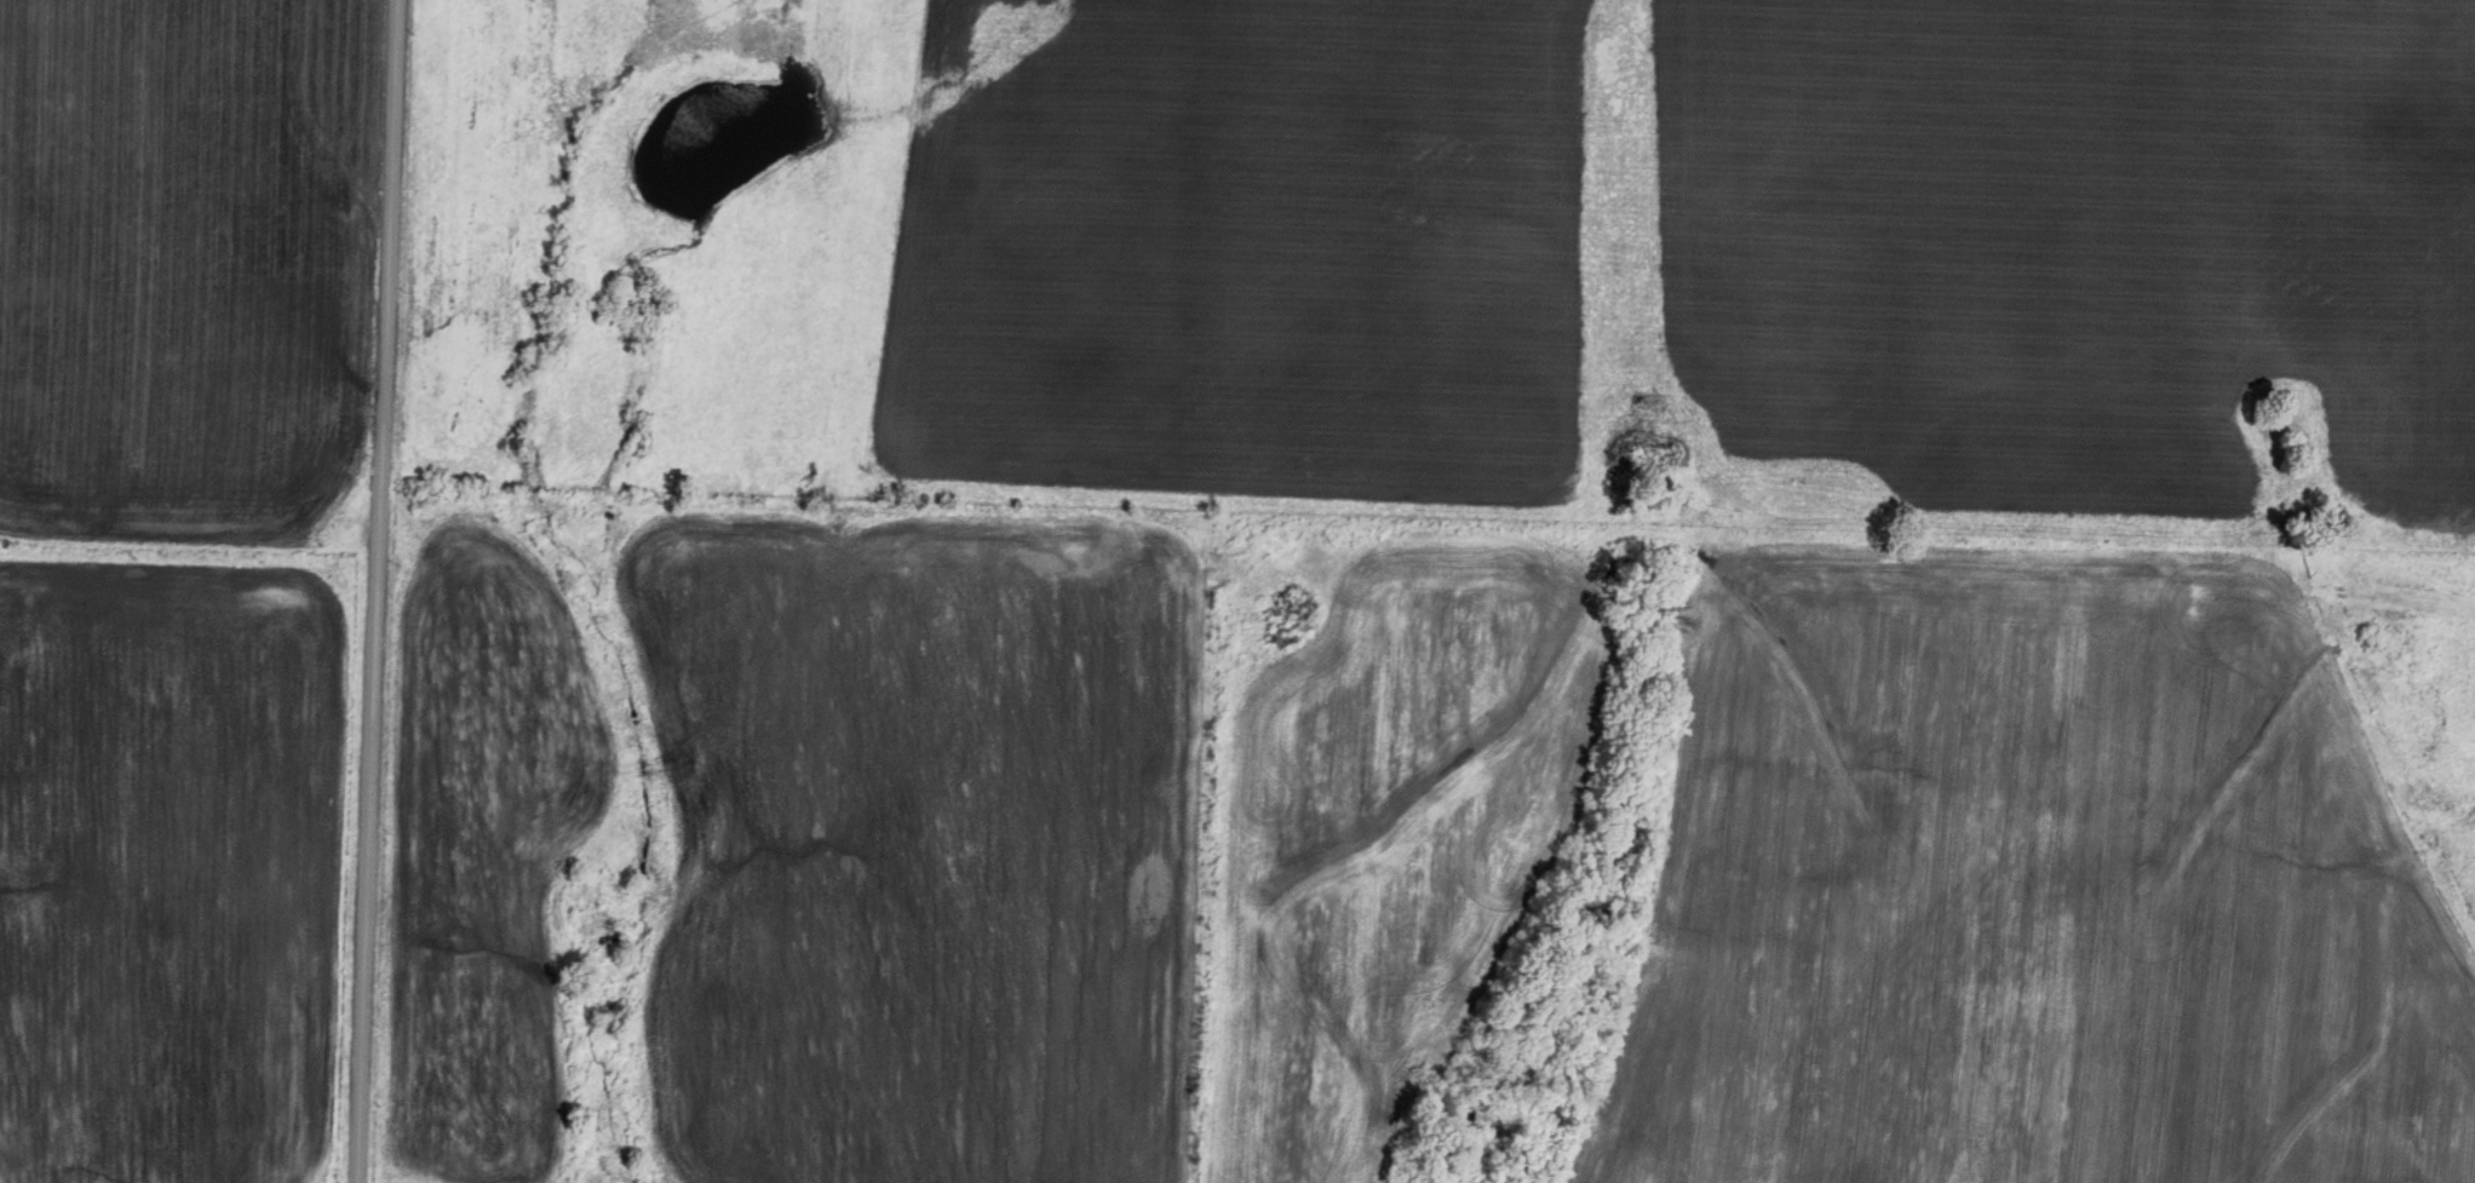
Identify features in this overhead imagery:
road: (364, 591)

